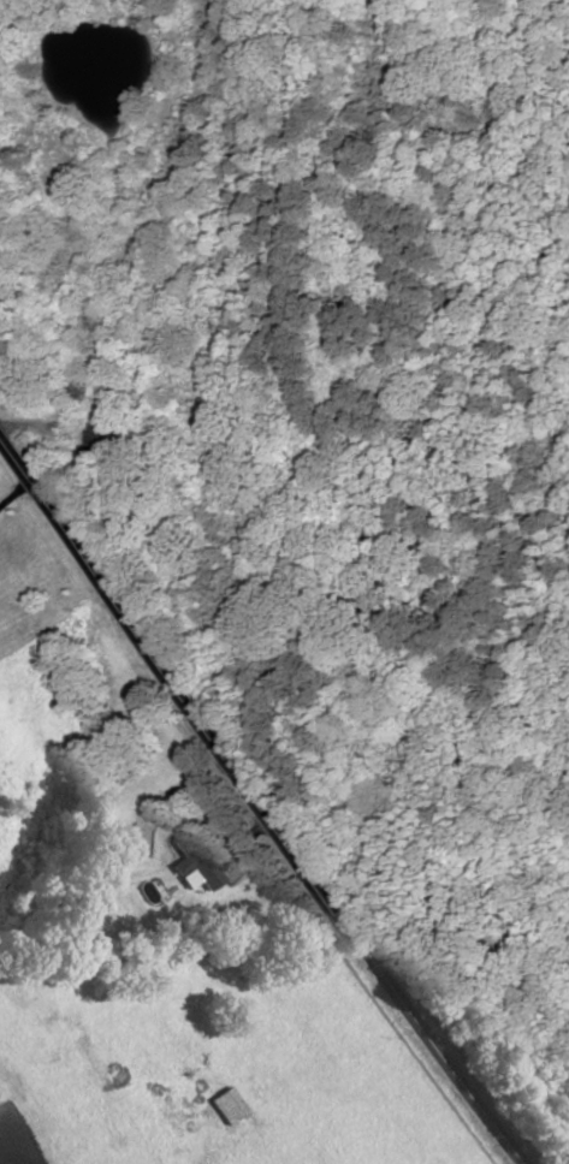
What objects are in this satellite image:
road: (42, 424)
building: (103, 439)
road: (14, 494)
road: (260, 801)
building: (197, 860)
building: (186, 878)
building: (226, 1106)

